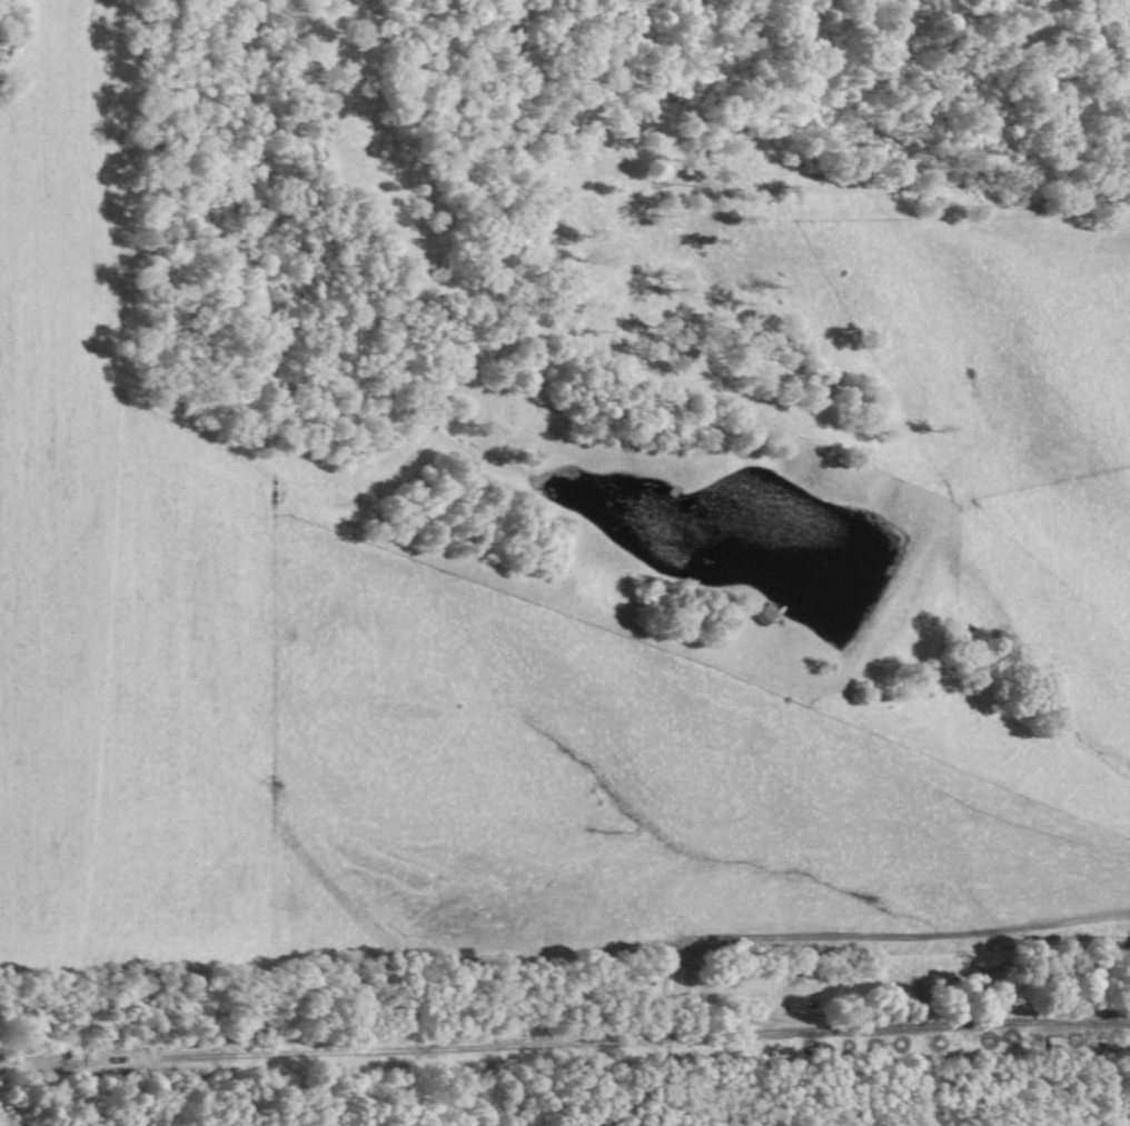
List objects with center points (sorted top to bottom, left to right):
road: (631, 1118)

